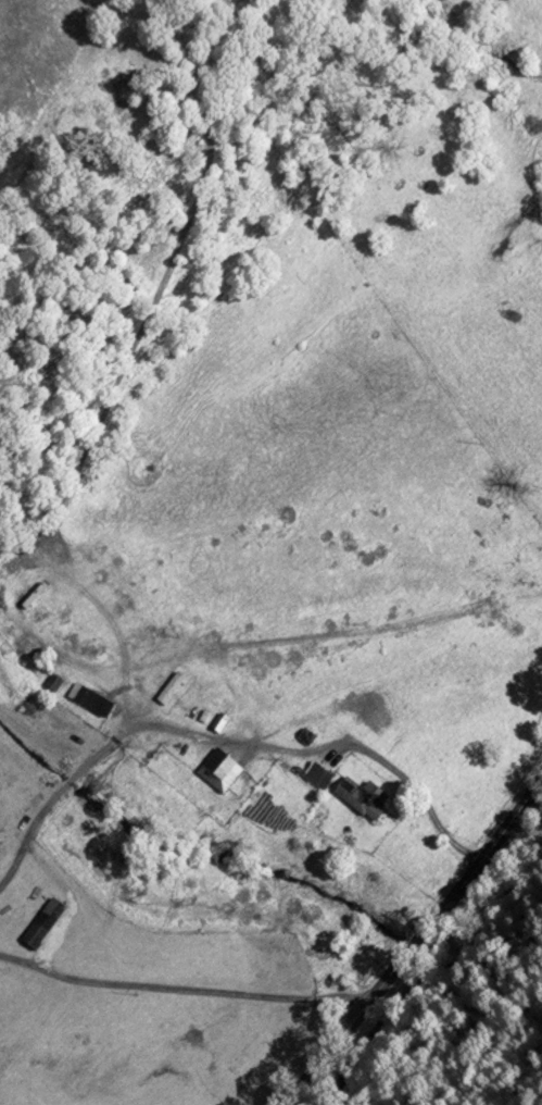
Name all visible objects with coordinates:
building: (90, 698)
building: (223, 774)
building: (317, 775)
building: (363, 797)
building: (28, 806)
building: (43, 922)
road: (412, 946)
road: (181, 989)

